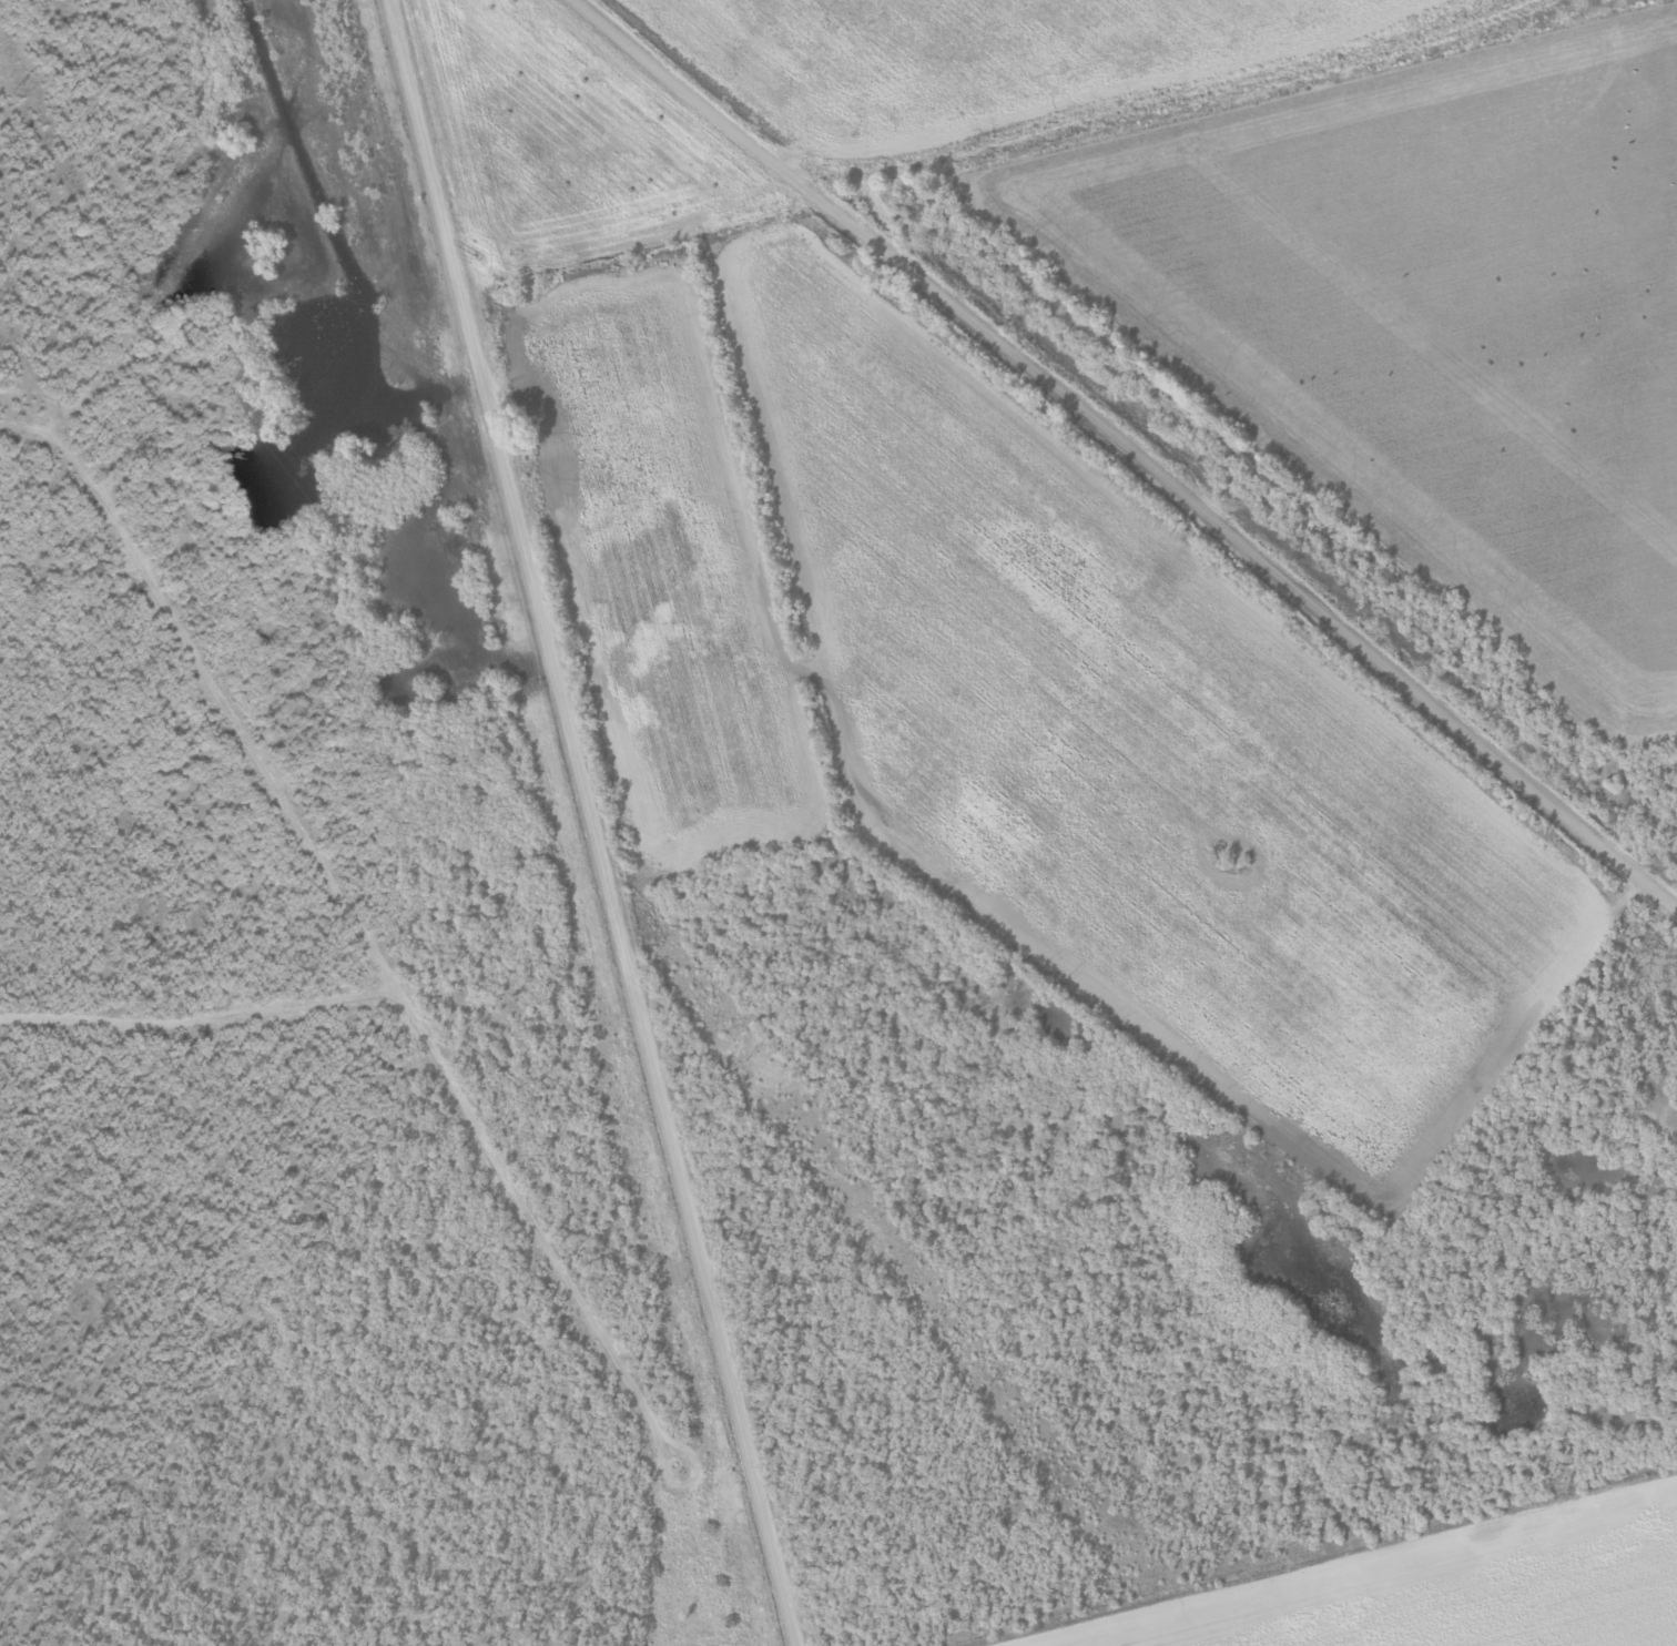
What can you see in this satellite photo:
power tower: (19, 87)
power tower: (264, 411)
railway: (1161, 426)
road: (1118, 455)
power tower: (506, 735)
road: (583, 823)
power tower: (749, 1059)
power tower: (993, 1381)

